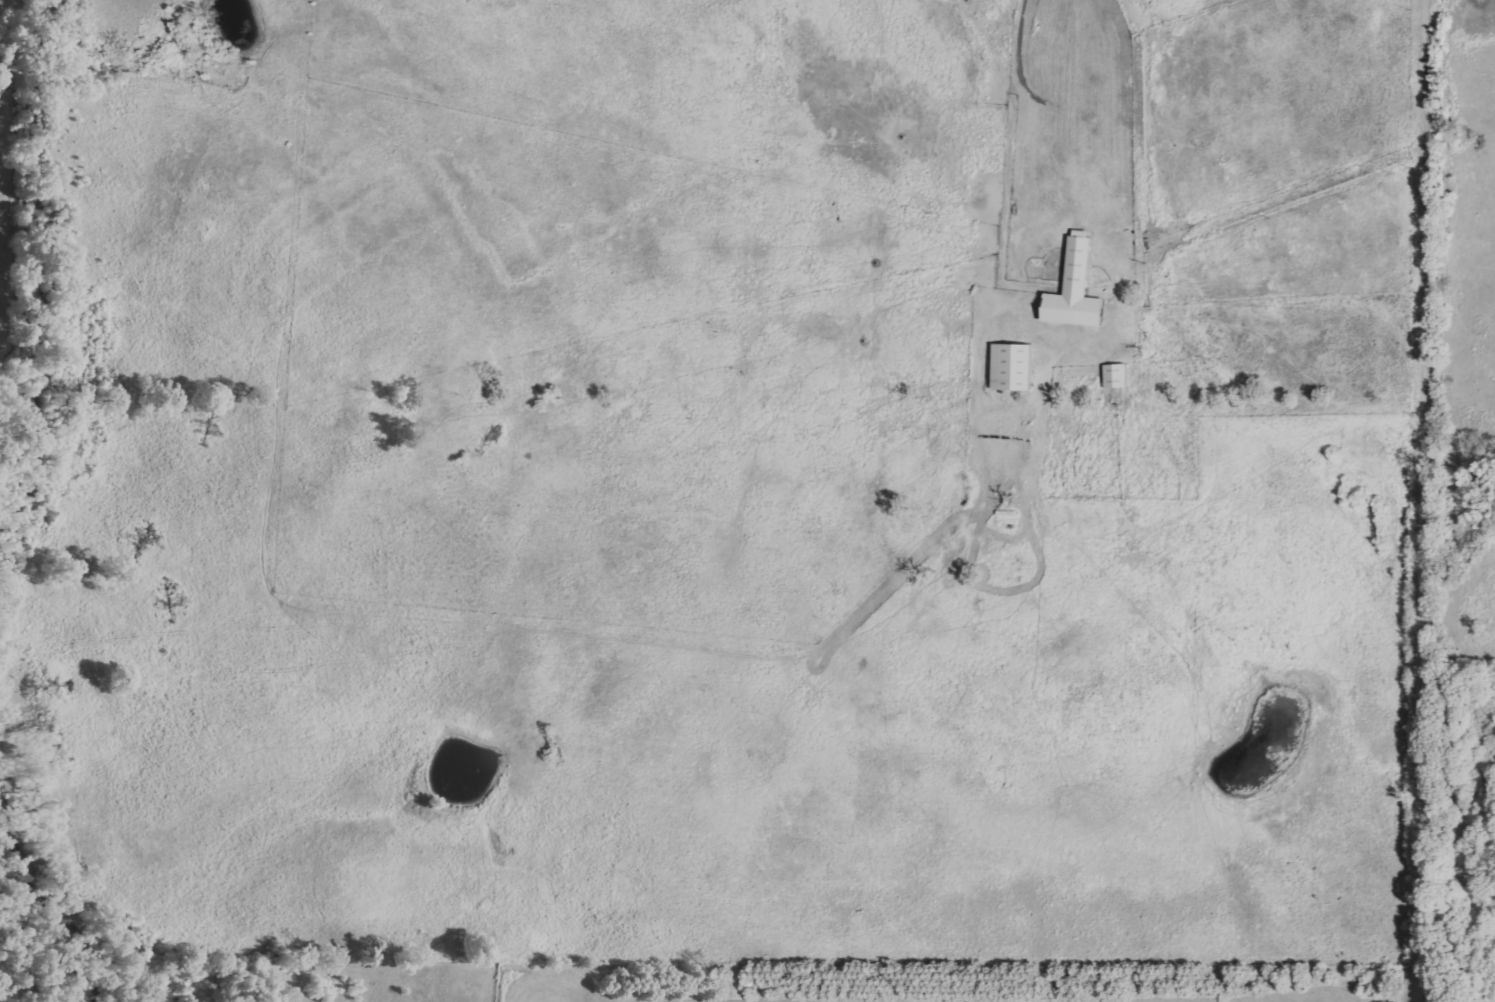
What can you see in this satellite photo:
road: (1257, 154)
building: (1073, 288)
building: (1009, 367)
building: (1114, 375)

